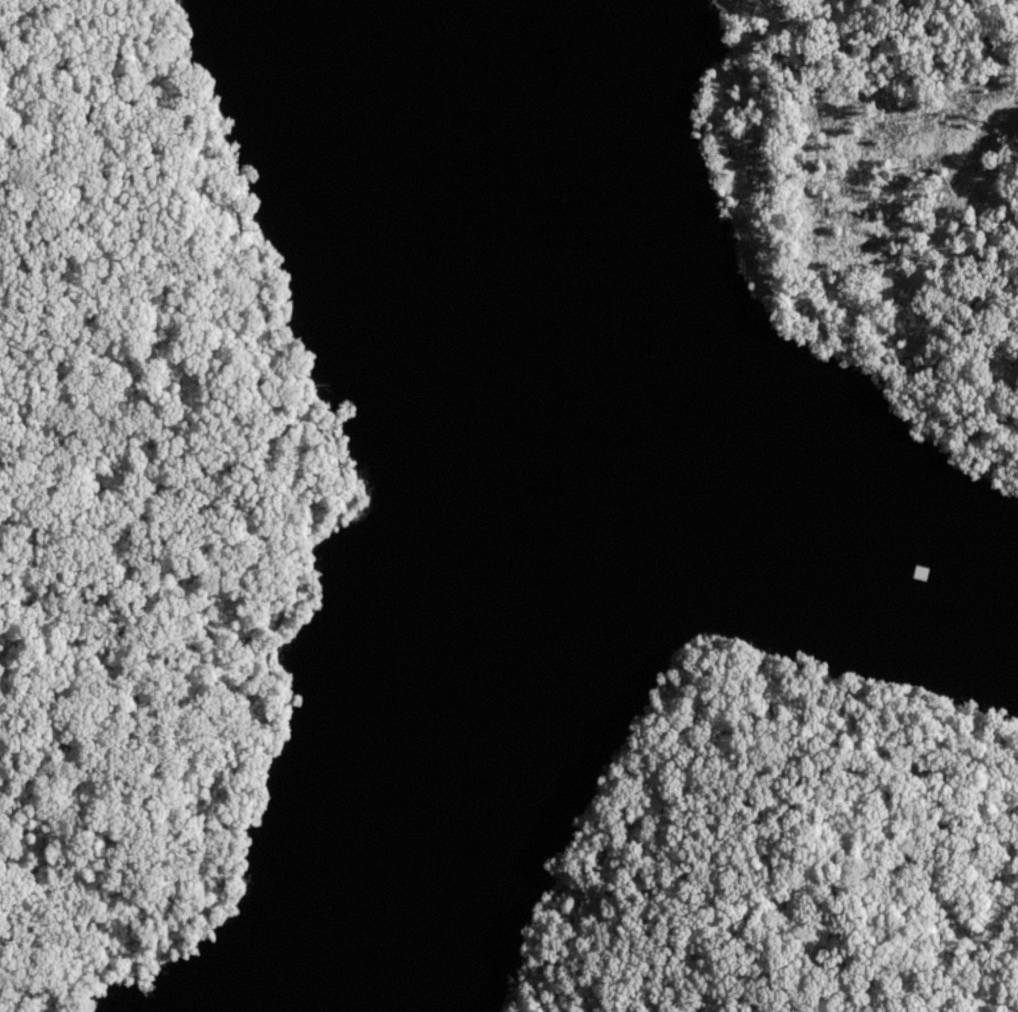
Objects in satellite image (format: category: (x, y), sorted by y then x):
road: (308, 531)
building: (579, 607)
road: (717, 735)

